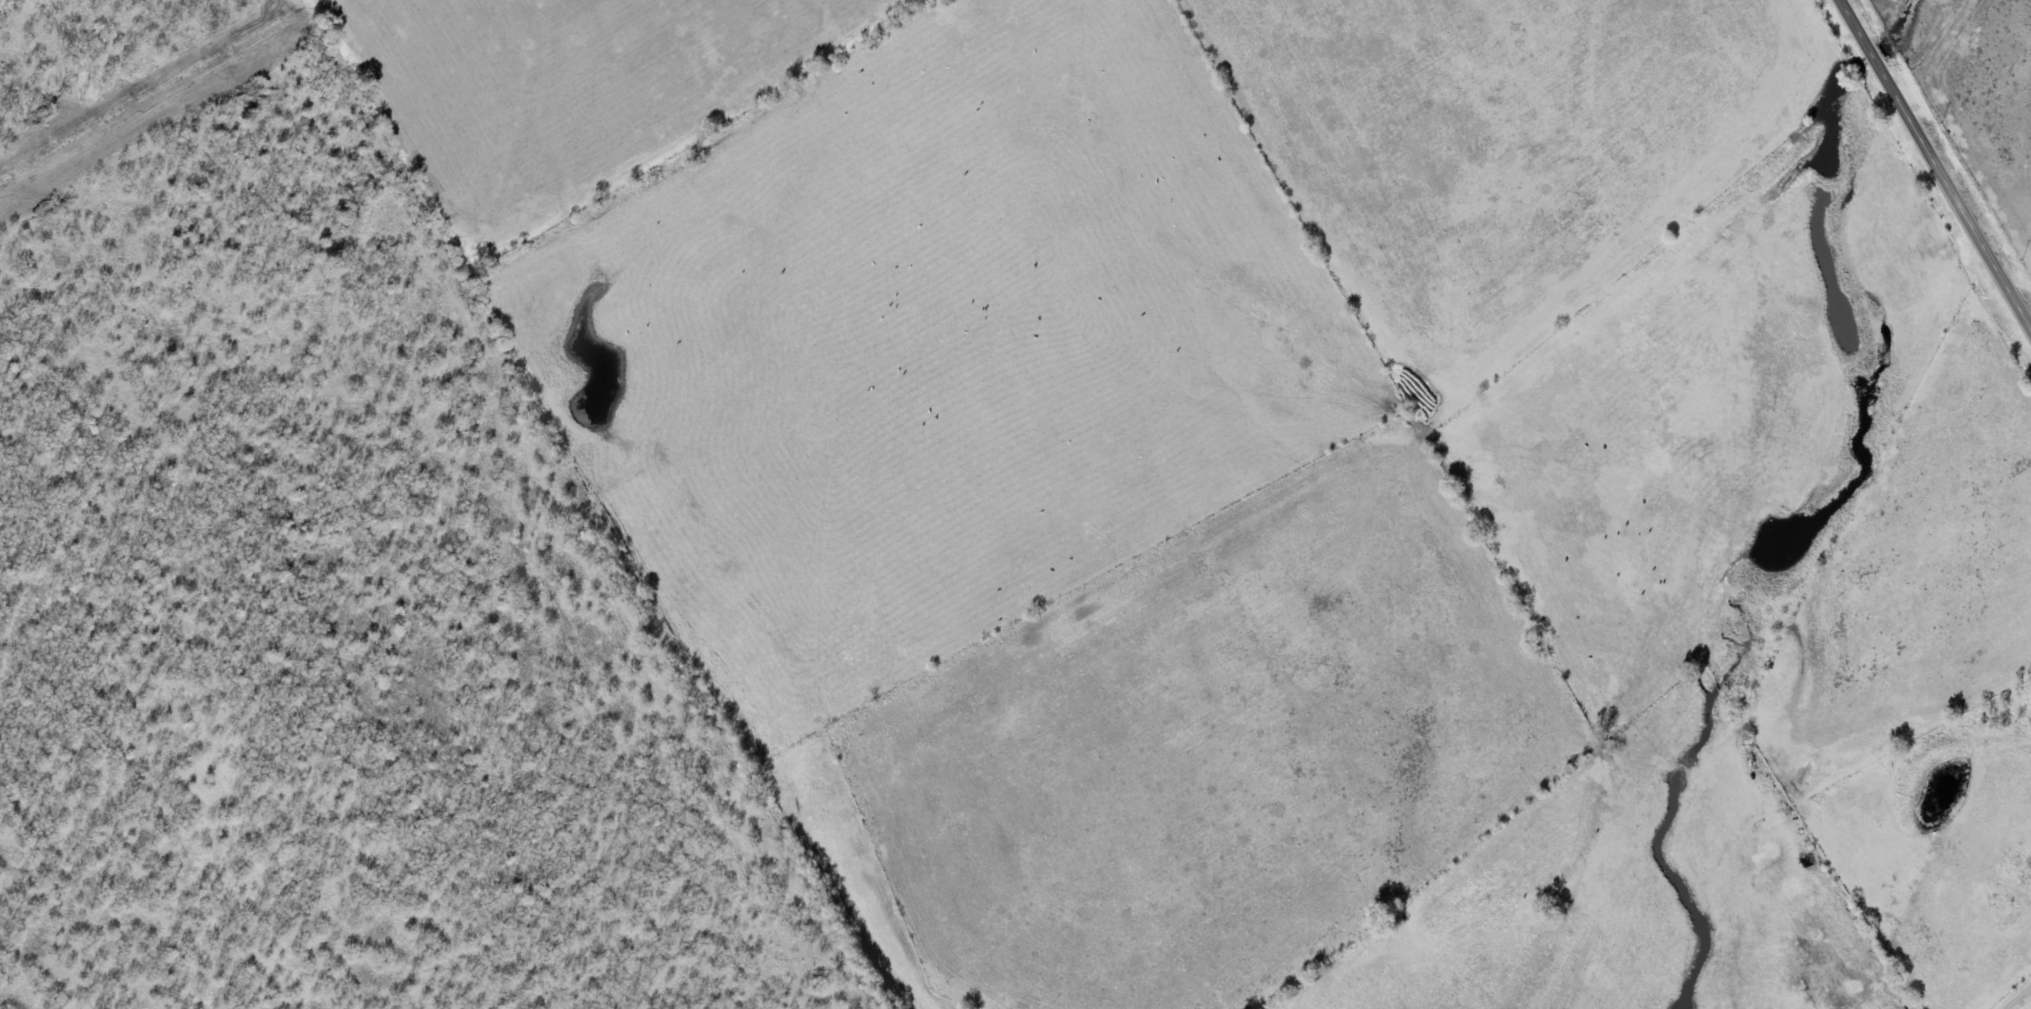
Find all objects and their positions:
road: (1940, 155)

